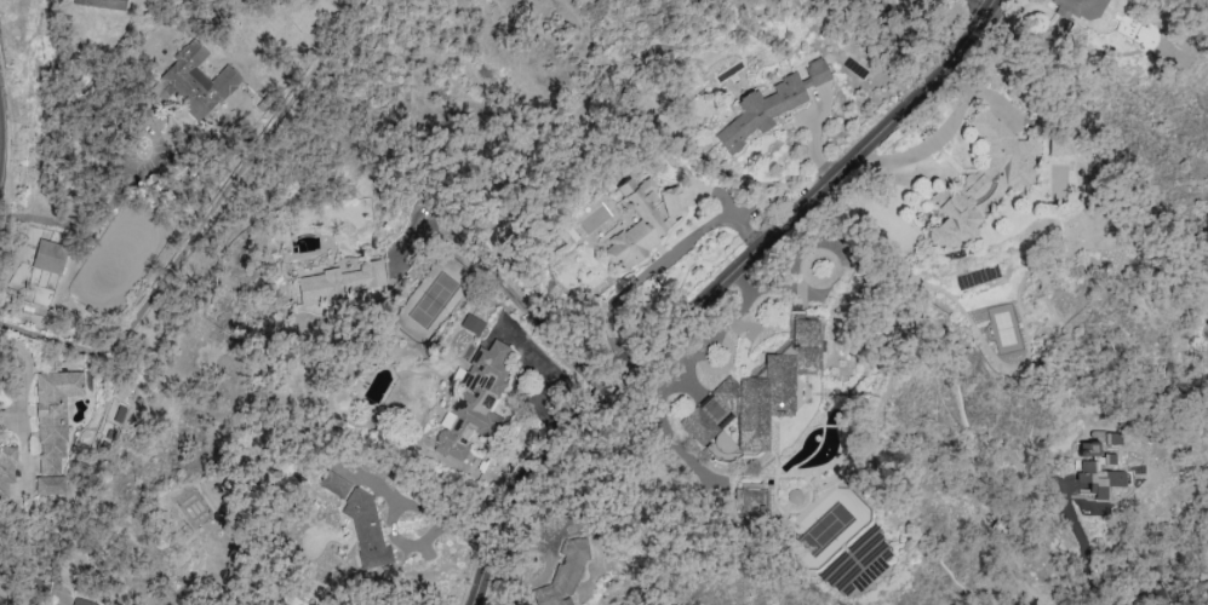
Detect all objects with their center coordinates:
building: (101, 4)
road: (979, 7)
building: (1081, 7)
building: (197, 82)
building: (769, 103)
road: (149, 127)
road: (937, 140)
building: (1058, 144)
building: (981, 180)
building: (641, 218)
road: (207, 223)
road: (80, 224)
building: (47, 255)
building: (337, 282)
road: (725, 288)
road: (509, 295)
building: (471, 323)
road: (717, 330)
building: (758, 392)
building: (474, 401)
building: (53, 416)
building: (1099, 465)
building: (6, 468)
building: (48, 484)
building: (333, 484)
building: (754, 502)
road: (437, 514)
building: (363, 529)
building: (562, 574)
road: (1100, 590)
building: (81, 601)

